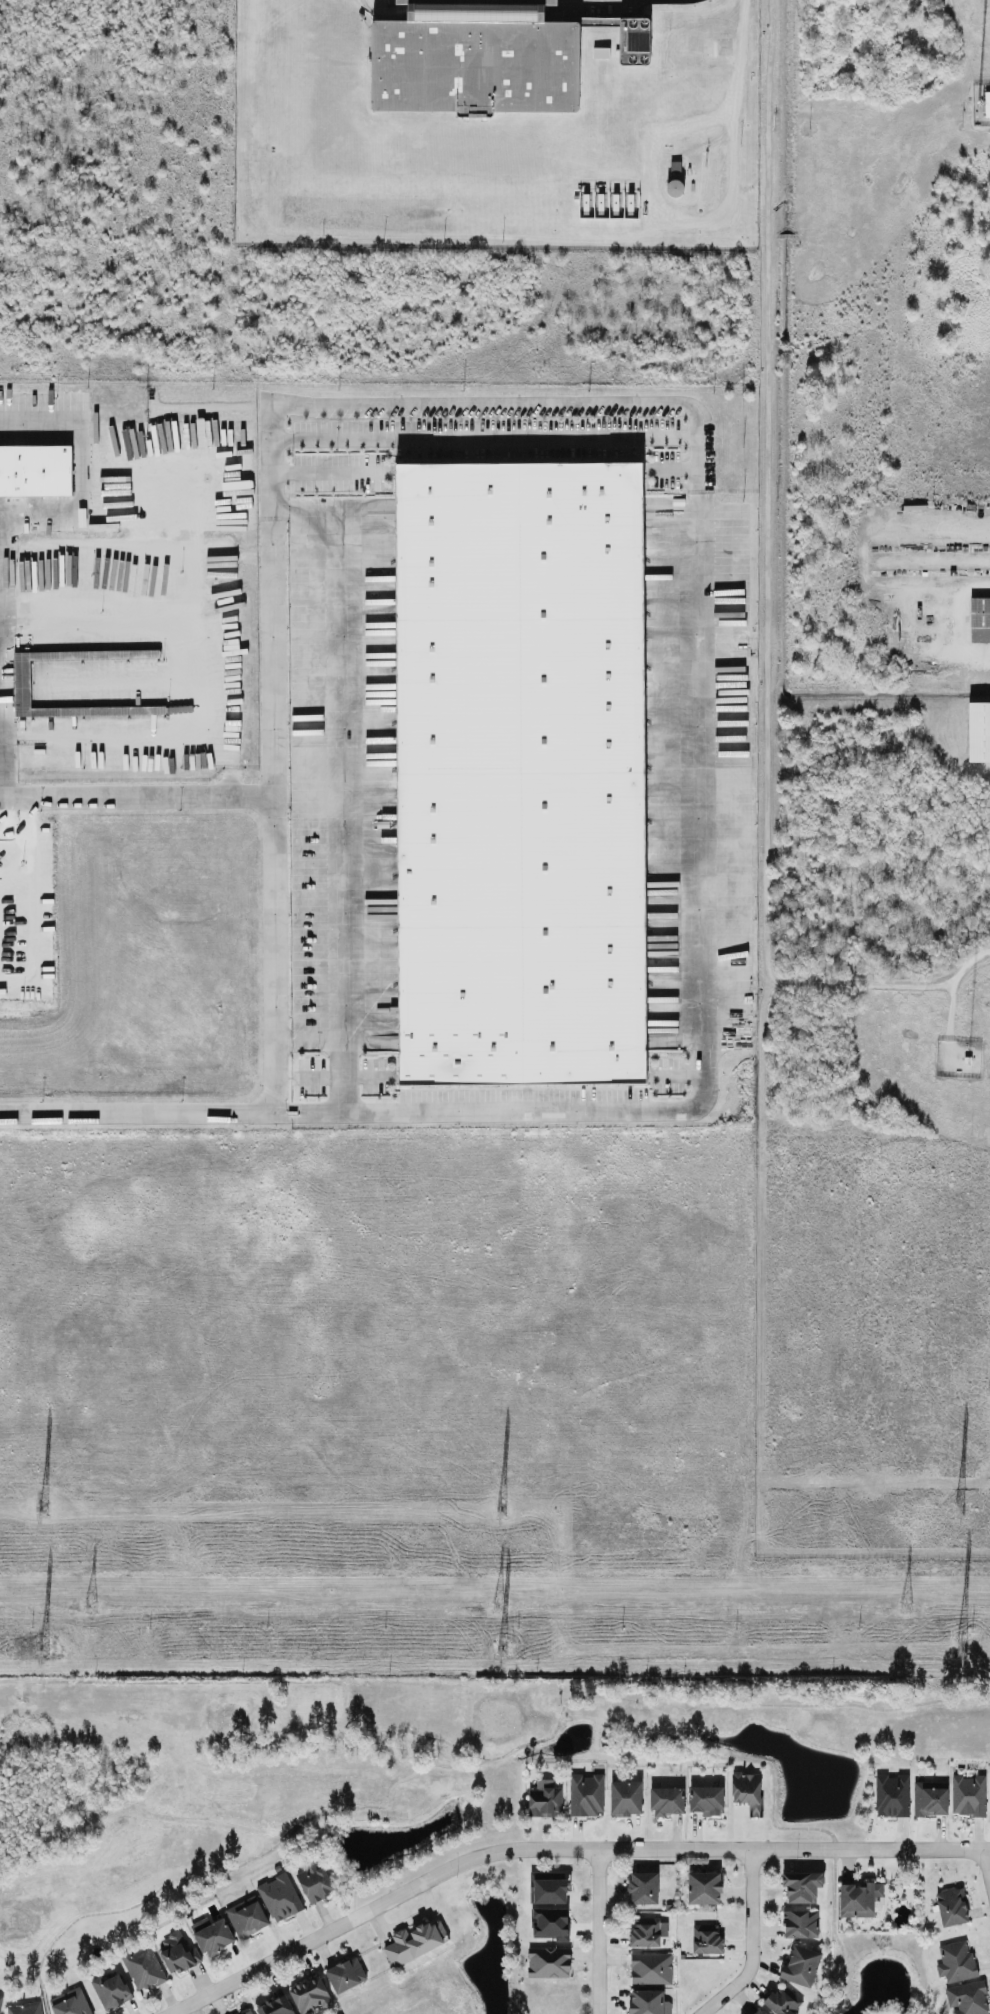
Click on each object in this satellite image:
road: (746, 17)
building: (635, 41)
building: (601, 53)
building: (476, 58)
building: (987, 98)
road: (738, 109)
building: (676, 167)
road: (484, 439)
building: (36, 470)
road: (671, 471)
road: (519, 472)
road: (333, 473)
road: (299, 510)
road: (869, 549)
power plant: (873, 565)
road: (785, 576)
road: (933, 585)
road: (949, 617)
building: (980, 621)
road: (945, 651)
building: (22, 683)
building: (978, 733)
road: (118, 739)
building: (520, 775)
road: (230, 778)
road: (308, 796)
road: (137, 797)
road: (10, 827)
road: (276, 900)
road: (945, 992)
road: (700, 1025)
road: (311, 1038)
road: (967, 1084)
power tower: (44, 1510)
power tower: (500, 1513)
power tower: (960, 1514)
power tower: (499, 1606)
power tower: (90, 1607)
power tower: (907, 1609)
power tower: (502, 1649)
power tower: (45, 1650)
power tower: (959, 1650)
road: (256, 1682)
road: (791, 1704)
road: (692, 1720)
road: (703, 1742)
building: (749, 1791)
building: (586, 1795)
building: (892, 1795)
building: (969, 1795)
building: (545, 1798)
building: (627, 1798)
building: (931, 1798)
park: (417, 1799)
building: (708, 1800)
building: (668, 1801)
road: (307, 1819)
road: (830, 1835)
road: (561, 1849)
road: (986, 1864)
building: (315, 1881)
building: (803, 1885)
building: (549, 1887)
building: (706, 1887)
building: (645, 1888)
building: (279, 1897)
building: (860, 1899)
building: (953, 1907)
building: (247, 1917)
building: (552, 1923)
building: (801, 1924)
road: (600, 1931)
building: (648, 1933)
building: (213, 1935)
building: (707, 1939)
building: (415, 1942)
road: (752, 1942)
building: (177, 1953)
building: (549, 1962)
building: (956, 1962)
building: (802, 1966)
building: (143, 1969)
building: (651, 1969)
building: (346, 1975)
building: (111, 1991)
building: (311, 1995)
building: (967, 1998)
building: (0, 2000)
building: (650, 2002)
building: (70, 2003)
building: (783, 2003)
building: (24, 2008)
building: (251, 2013)

